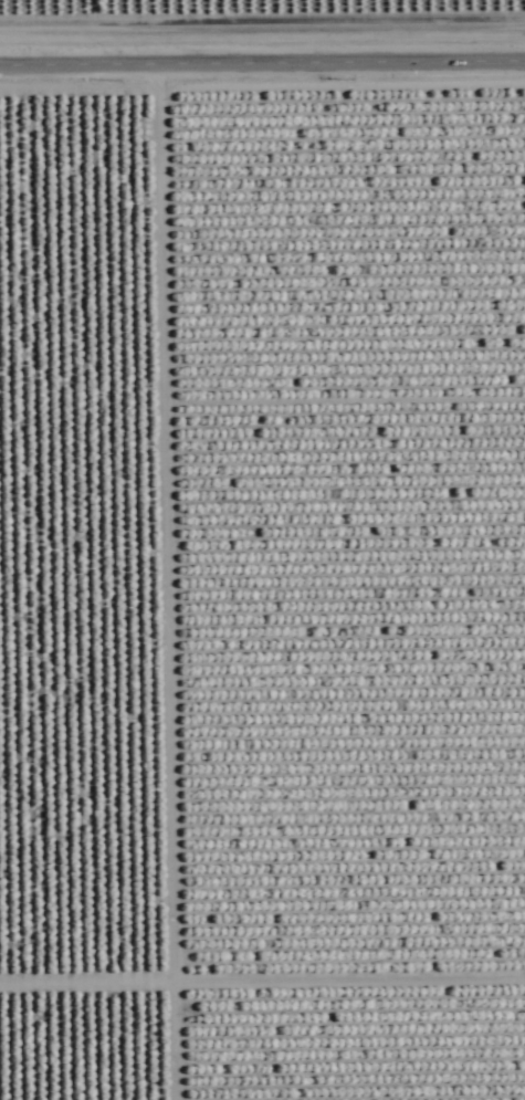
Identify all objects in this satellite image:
road: (262, 63)
crop: (262, 549)

